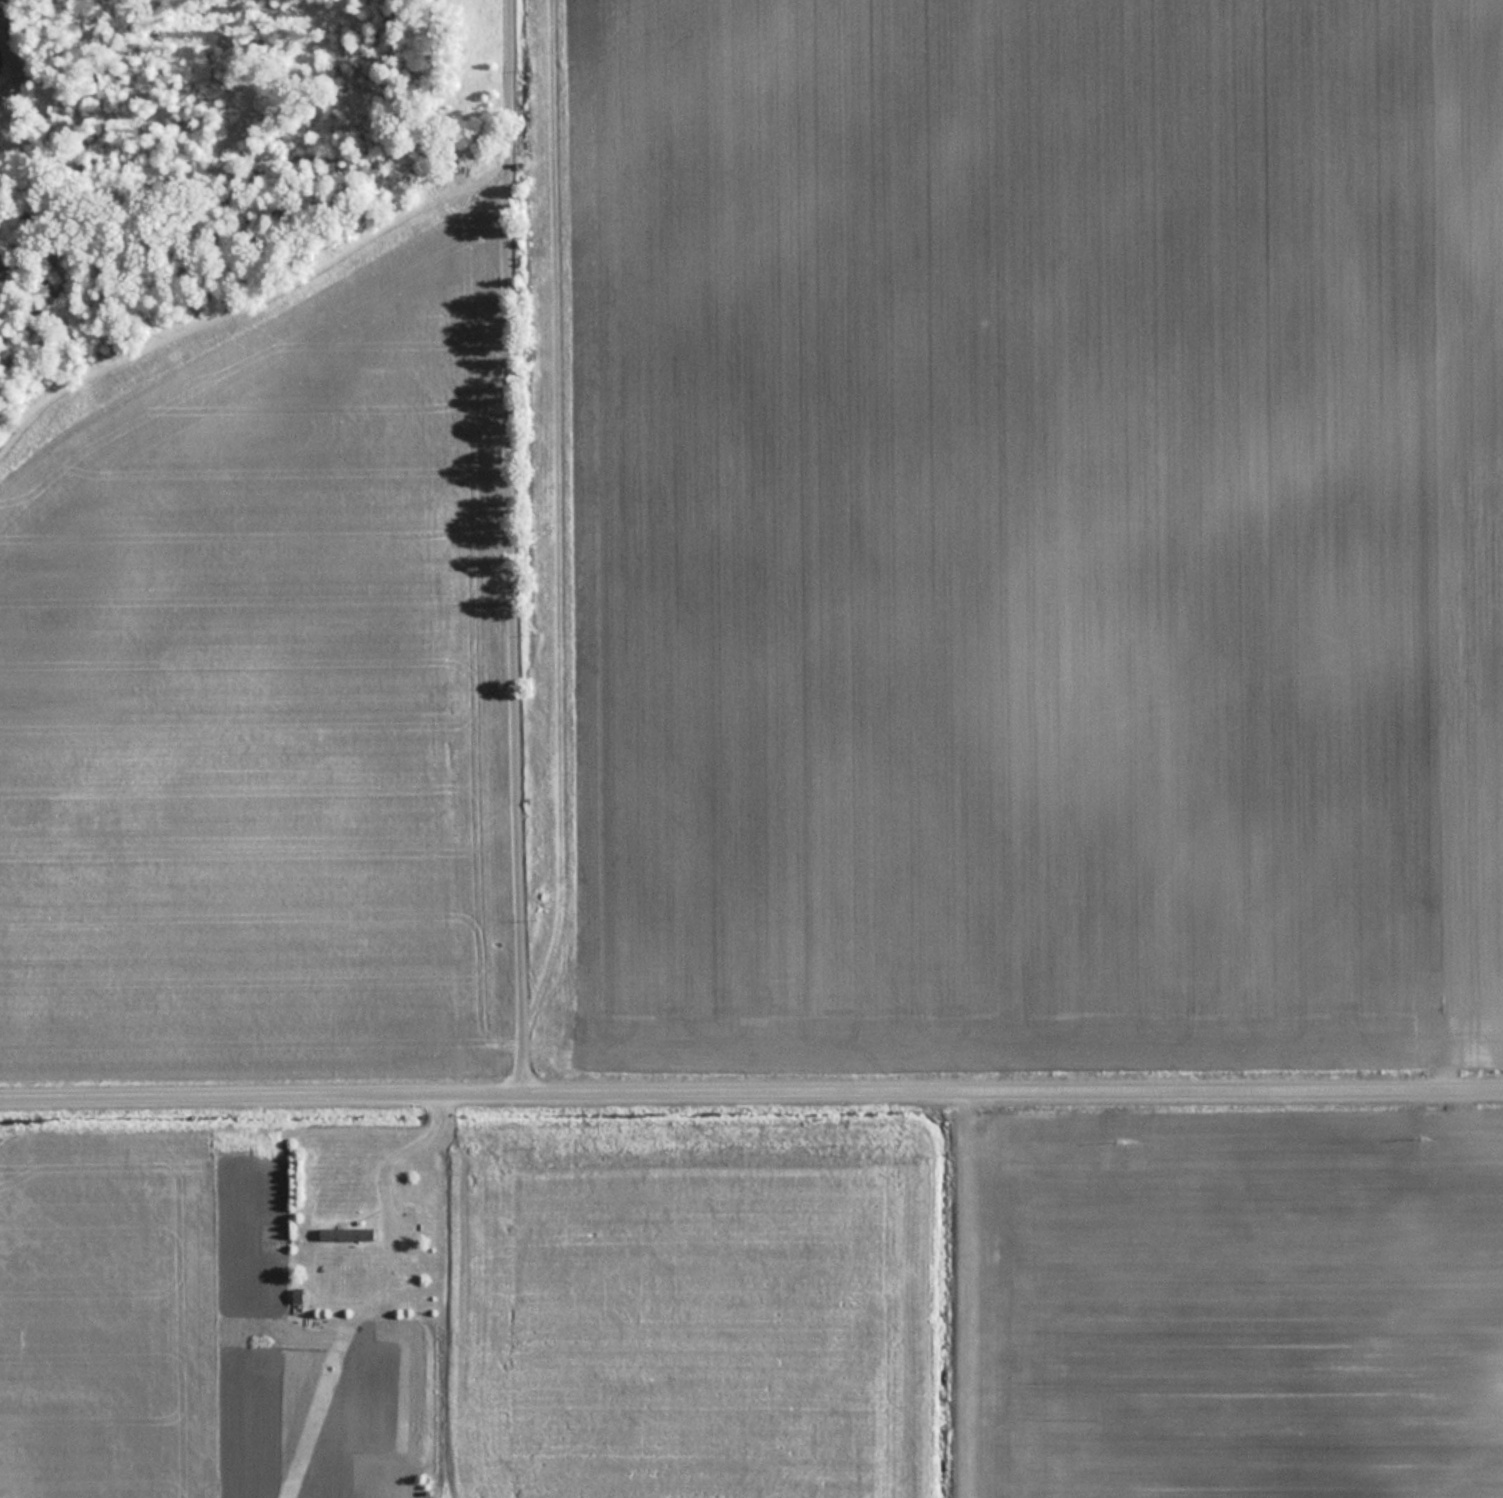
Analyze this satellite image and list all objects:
road: (500, 541)
road: (751, 1083)
road: (397, 1142)
building: (347, 1232)

